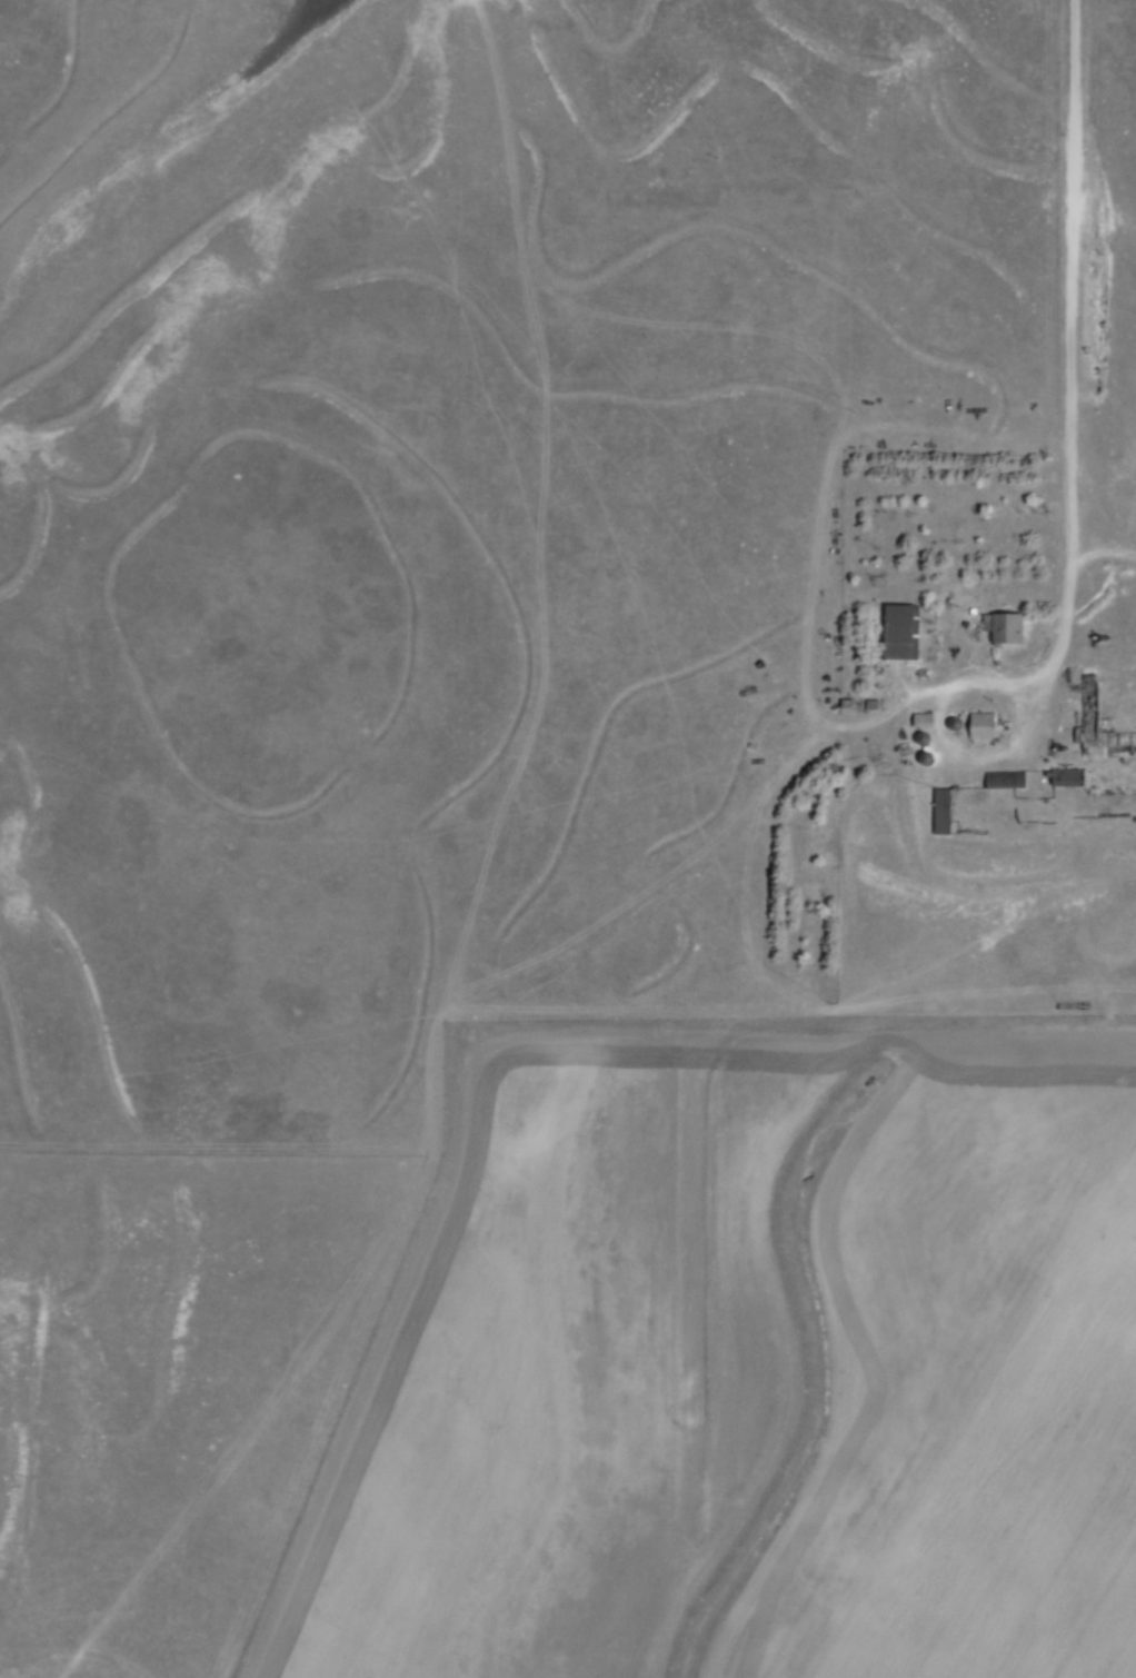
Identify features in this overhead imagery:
road: (1076, 393)
building: (1003, 624)
building: (901, 627)
building: (921, 715)
building: (1086, 716)
building: (951, 717)
building: (981, 718)
building: (920, 733)
building: (921, 753)
road: (987, 756)
building: (1065, 771)
building: (1005, 772)
building: (943, 803)

